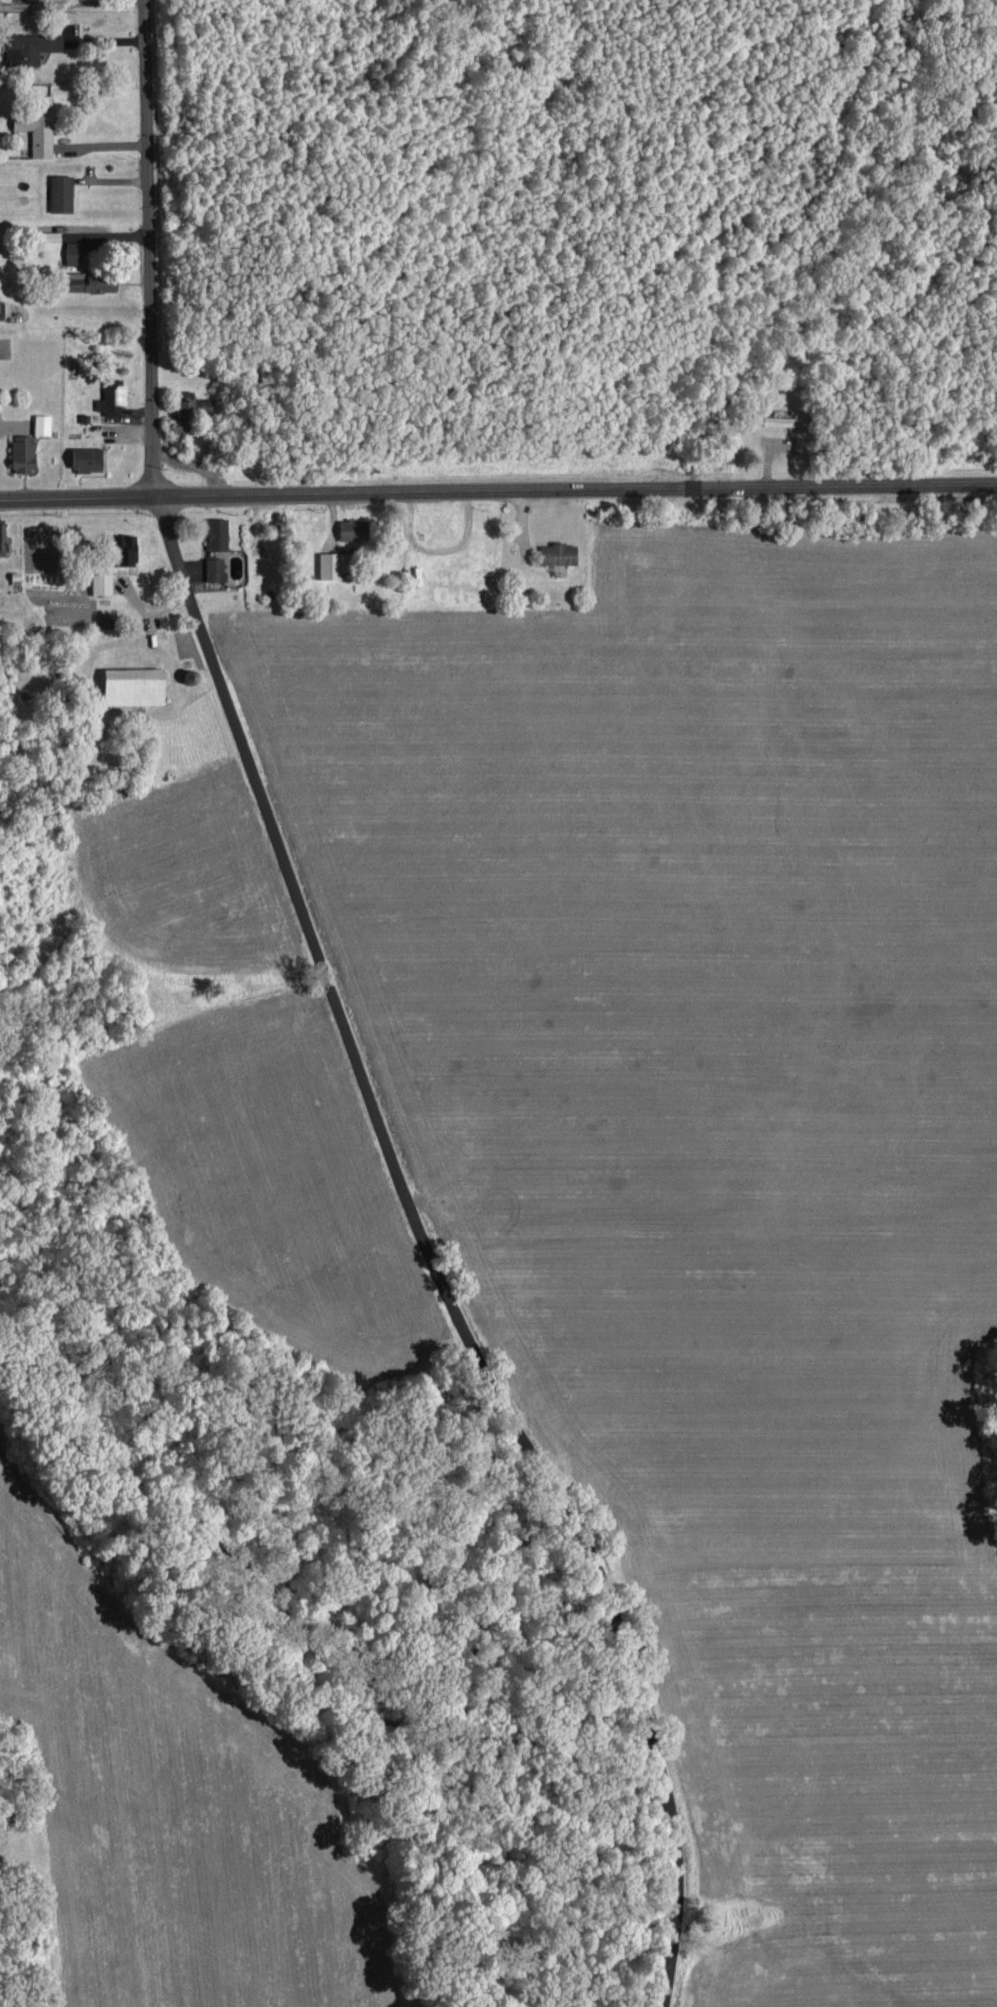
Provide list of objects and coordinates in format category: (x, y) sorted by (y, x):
building: (16, 0)
building: (26, 45)
building: (37, 122)
building: (57, 191)
building: (47, 234)
road: (148, 247)
building: (69, 251)
building: (85, 279)
building: (108, 395)
building: (192, 402)
building: (779, 419)
building: (39, 422)
building: (17, 451)
building: (80, 457)
road: (498, 489)
building: (344, 527)
building: (212, 532)
building: (0, 543)
building: (115, 547)
building: (554, 552)
building: (324, 563)
building: (211, 567)
building: (98, 581)
building: (126, 684)
road: (430, 1254)

